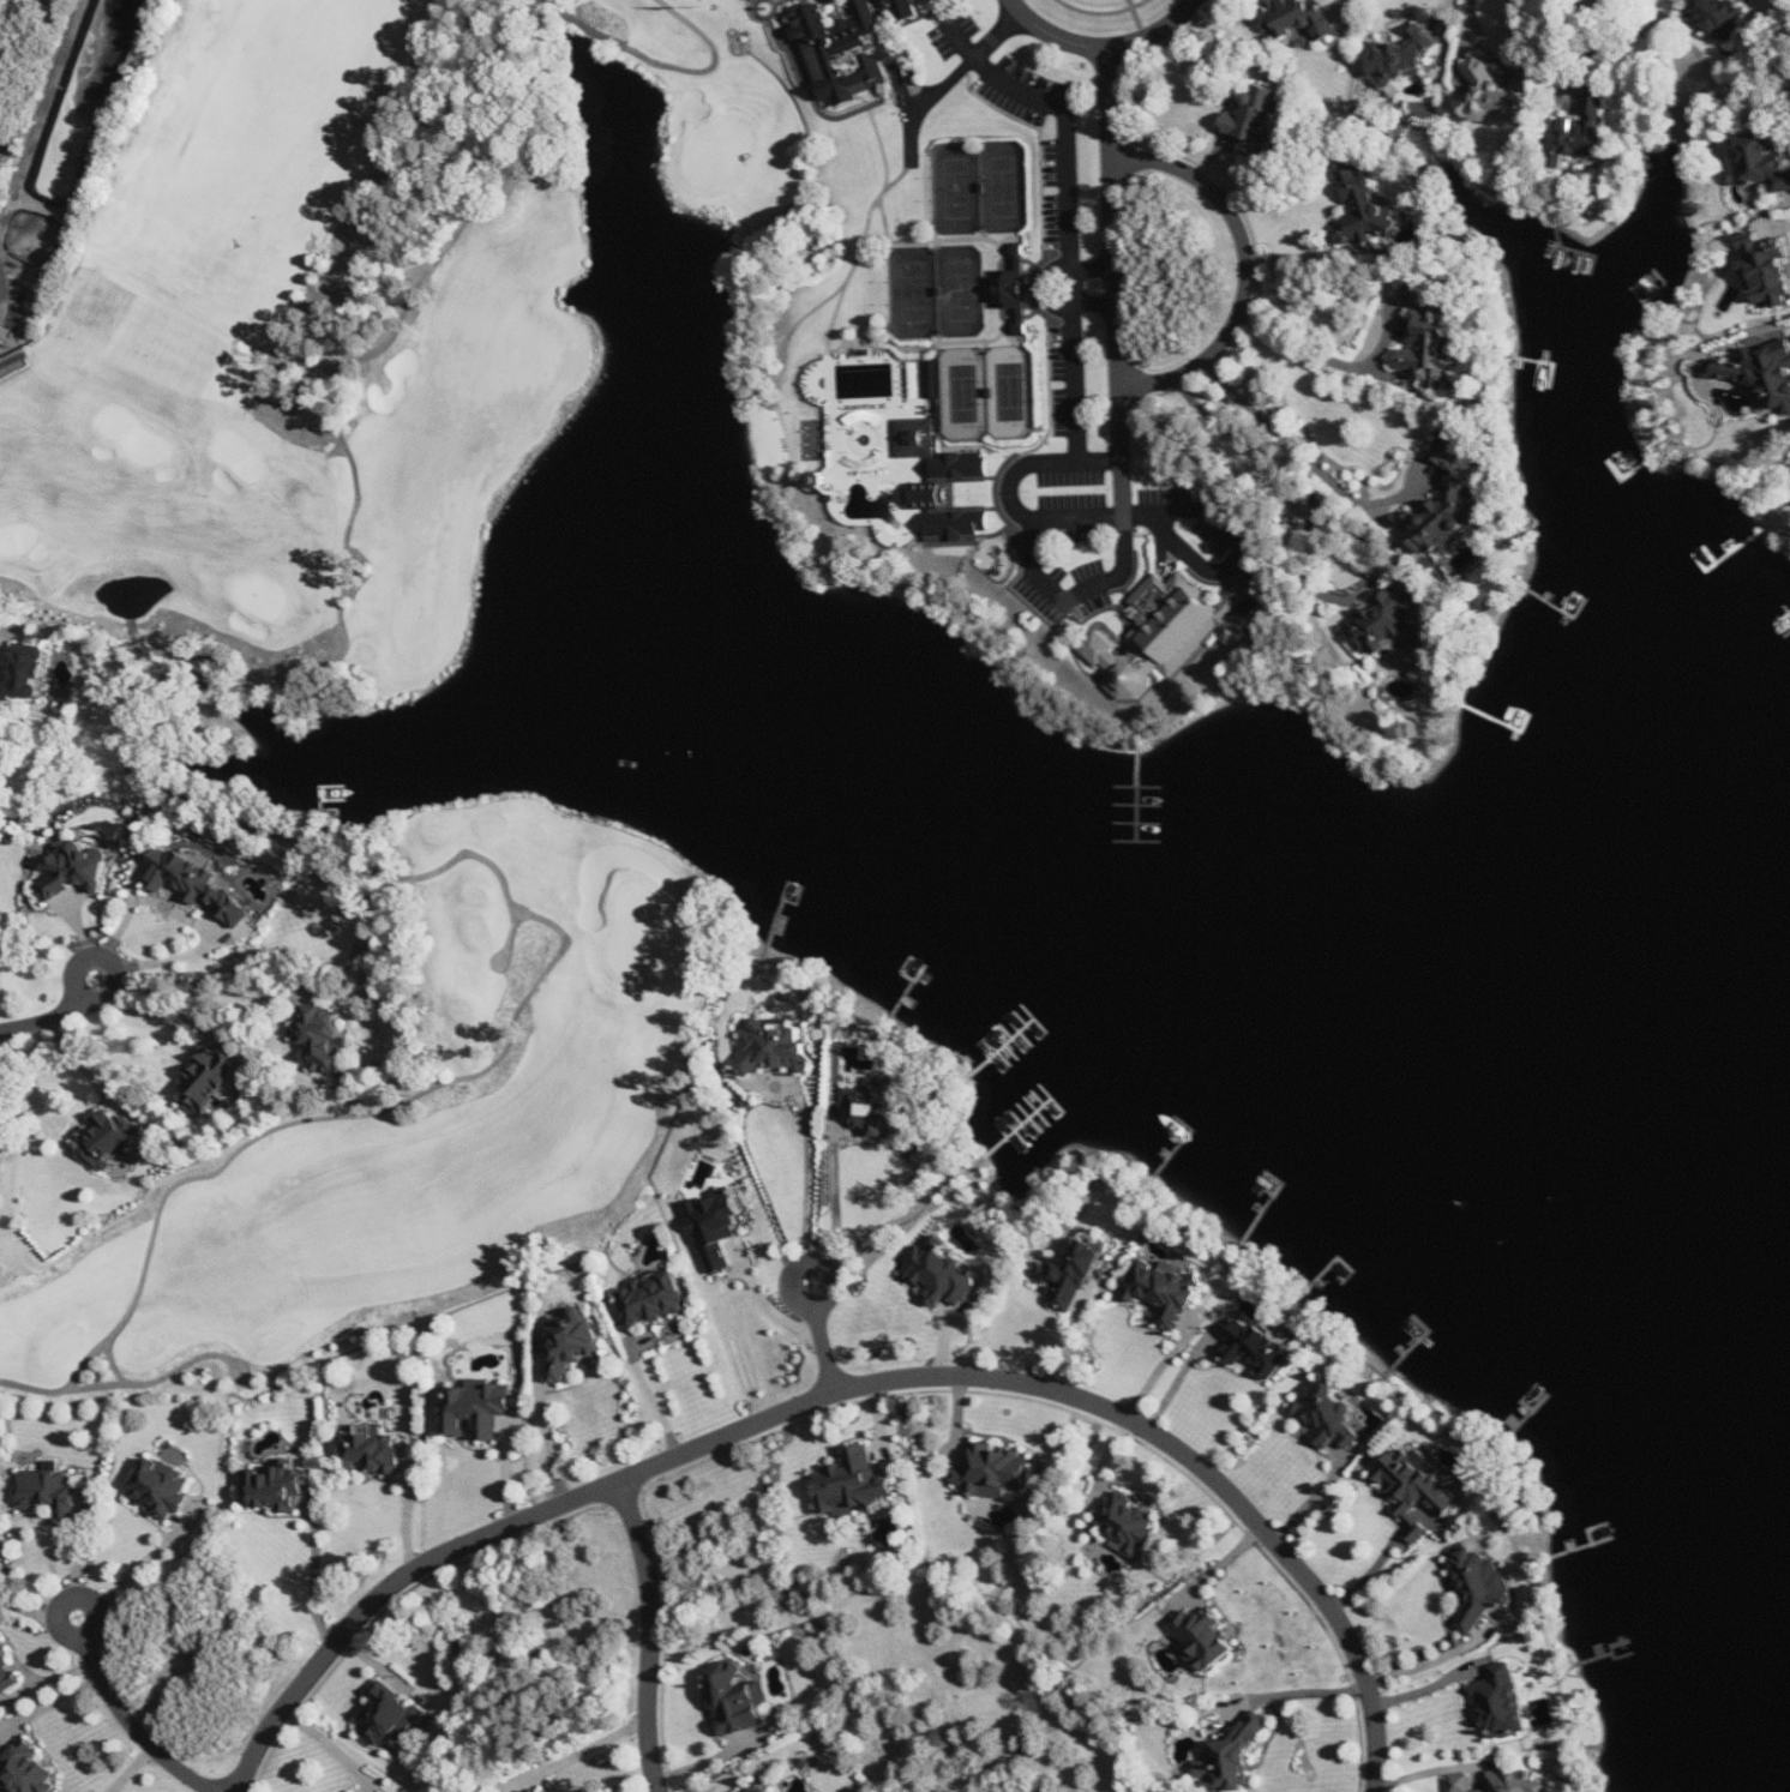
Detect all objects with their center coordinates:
building: (907, 7)
road: (1103, 11)
building: (1299, 19)
road: (1140, 20)
road: (1473, 20)
building: (1717, 20)
road: (579, 22)
road: (1161, 36)
road: (1055, 38)
road: (1561, 40)
building: (847, 52)
building: (1399, 61)
road: (713, 65)
road: (951, 79)
building: (1496, 95)
road: (1112, 103)
building: (1259, 120)
building: (1582, 134)
building: (1761, 162)
park: (1003, 186)
park: (957, 187)
road: (1070, 209)
building: (1365, 209)
road: (1785, 227)
road: (1308, 255)
road: (1247, 266)
building: (1766, 270)
park: (961, 288)
road: (1045, 288)
park: (915, 289)
building: (1014, 291)
road: (4, 293)
road: (55, 329)
road: (1119, 336)
building: (1430, 338)
road: (1301, 347)
road: (356, 366)
building: (1759, 371)
building: (932, 379)
park: (1010, 391)
park: (965, 392)
road: (1286, 435)
road: (1261, 451)
building: (944, 482)
road: (1010, 491)
building: (1446, 509)
road: (1242, 543)
road: (1075, 595)
building: (1387, 624)
road: (6, 625)
building: (1169, 633)
building: (29, 675)
park: (330, 703)
road: (128, 760)
building: (77, 872)
building: (200, 884)
road: (193, 920)
road: (112, 960)
road: (199, 987)
road: (167, 1012)
road: (46, 1021)
building: (322, 1039)
building: (774, 1048)
building: (212, 1083)
road: (421, 1095)
building: (876, 1107)
building: (109, 1139)
road: (810, 1172)
road: (836, 1195)
building: (719, 1229)
road: (807, 1264)
building: (943, 1273)
building: (1071, 1275)
building: (1165, 1292)
building: (655, 1299)
building: (572, 1345)
building: (1259, 1349)
road: (825, 1353)
road: (116, 1363)
road: (1163, 1365)
road: (161, 1379)
road: (1178, 1379)
road: (659, 1403)
road: (1100, 1406)
building: (477, 1411)
building: (1329, 1414)
road: (549, 1438)
building: (373, 1450)
building: (995, 1471)
building: (854, 1485)
building: (277, 1487)
building: (163, 1489)
building: (1417, 1489)
building: (50, 1492)
building: (1128, 1523)
road: (151, 1557)
road: (1370, 1574)
road: (317, 1582)
building: (1480, 1587)
road: (391, 1592)
road: (76, 1598)
road: (29, 1611)
road: (651, 1635)
building: (1205, 1638)
road: (1432, 1661)
building: (7, 1672)
road: (1297, 1692)
building: (738, 1698)
building: (1503, 1702)
building: (391, 1716)
road: (136, 1730)
road: (582, 1754)
building: (1235, 1755)
building: (25, 1770)
road: (1435, 1770)
building: (1461, 1782)
building: (1515, 1782)
building: (540, 1790)
building: (753, 1791)
building: (773, 1791)

